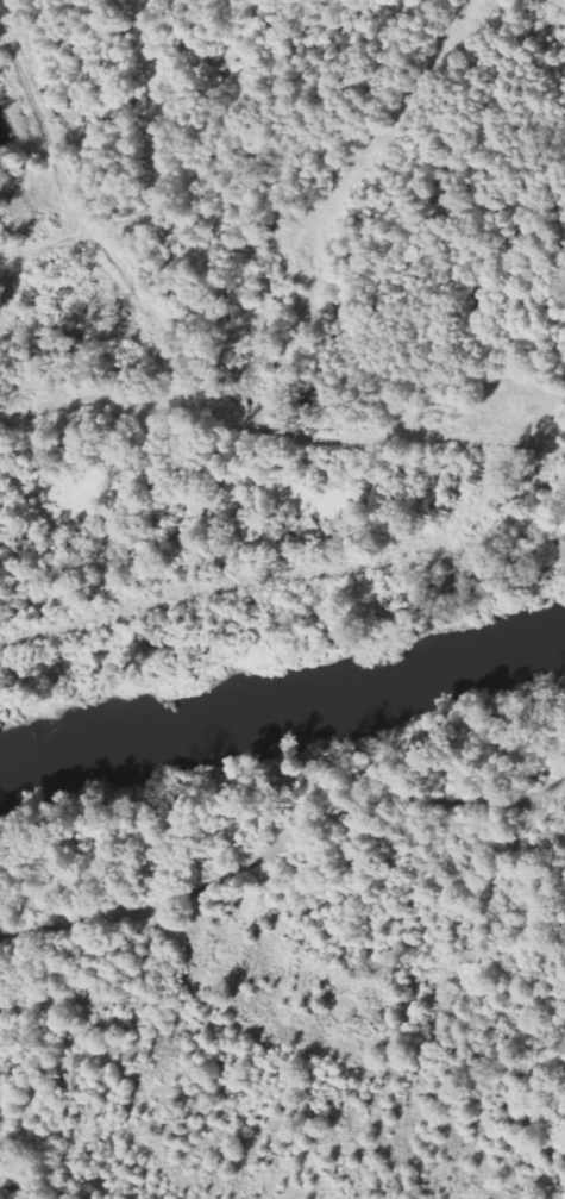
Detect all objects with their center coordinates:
road: (182, 375)
river: (282, 704)
road: (73, 929)

